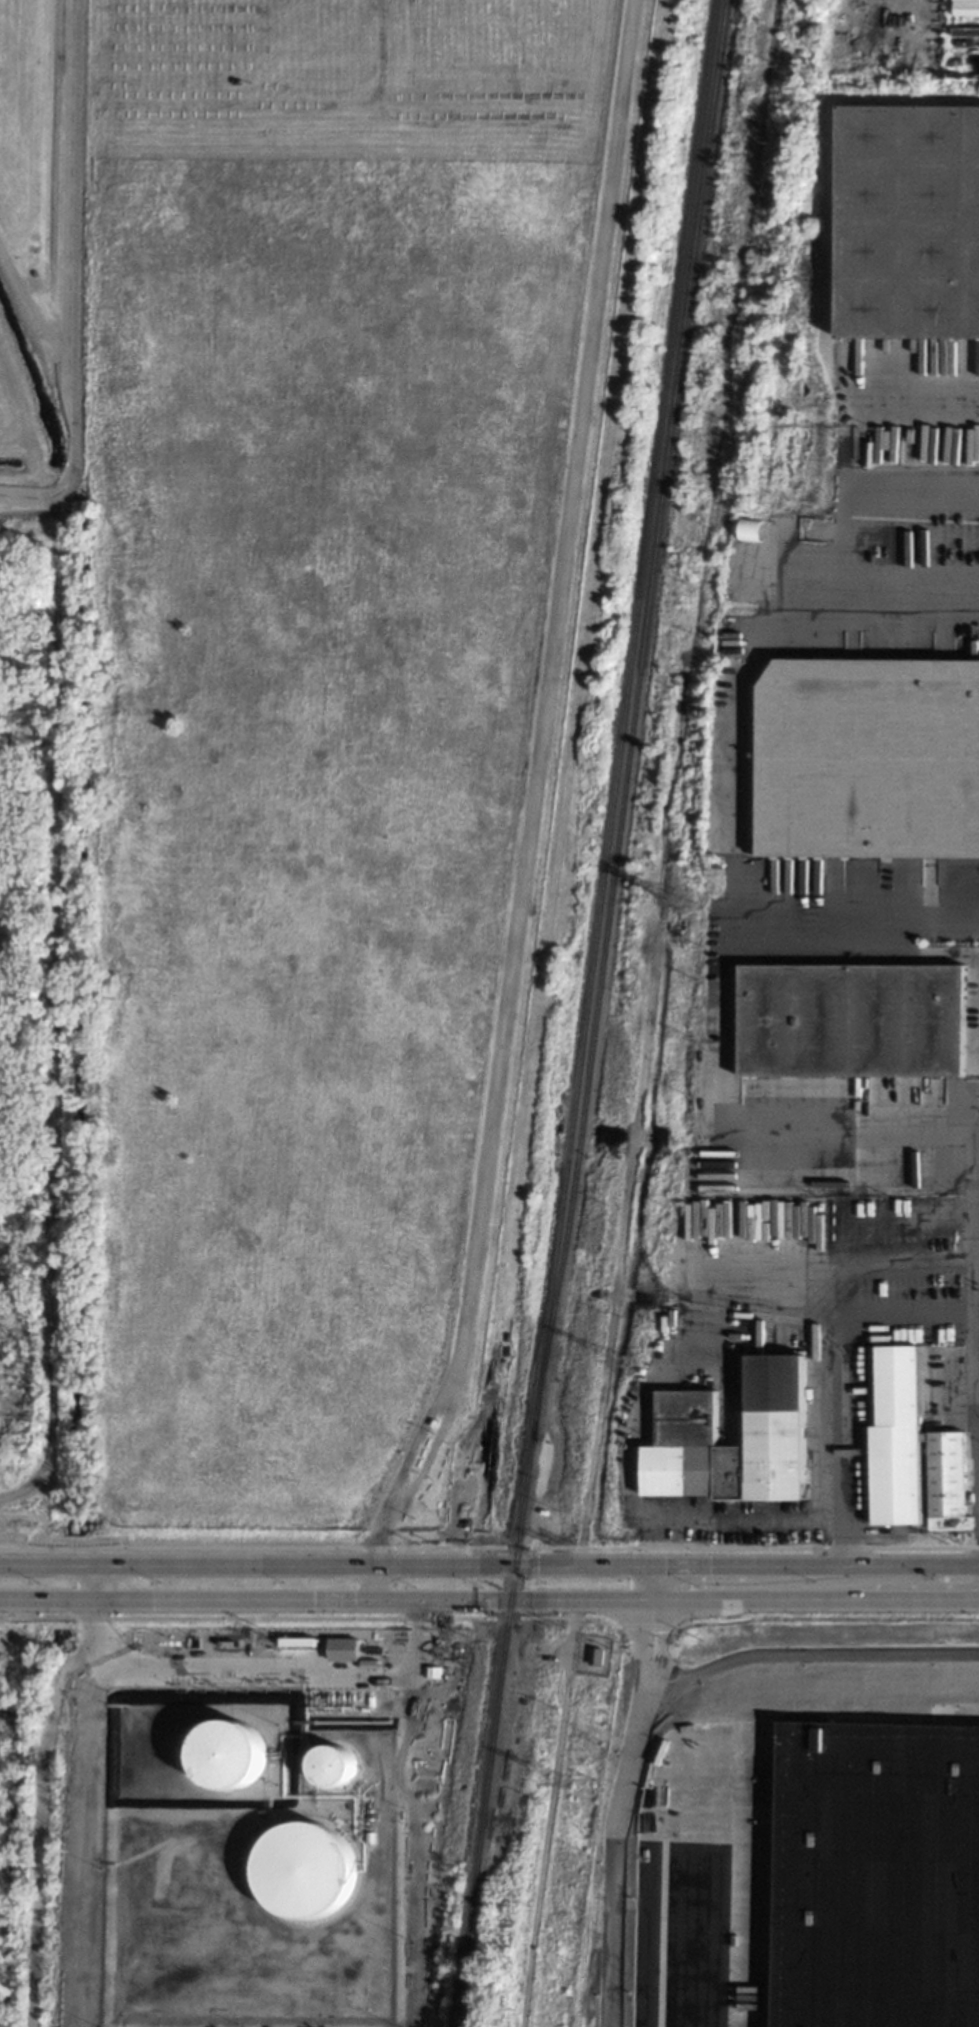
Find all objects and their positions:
building: (966, 7)
solar farm: (347, 74)
building: (909, 220)
road: (70, 279)
road: (29, 302)
road: (853, 437)
building: (751, 529)
road: (876, 611)
railway: (633, 720)
airport: (295, 731)
building: (869, 757)
road: (532, 791)
road: (863, 923)
road: (58, 1013)
railway: (586, 1013)
building: (851, 1020)
road: (971, 1178)
road: (817, 1332)
building: (686, 1416)
road: (637, 1426)
building: (912, 1448)
building: (544, 1511)
road: (489, 1566)
road: (94, 1582)
road: (372, 1583)
road: (435, 1601)
road: (924, 1602)
road: (649, 1607)
building: (345, 1648)
building: (594, 1654)
building: (398, 1659)
road: (261, 1663)
building: (369, 1663)
road: (649, 1668)
building: (434, 1671)
road: (648, 1692)
building: (230, 1755)
building: (334, 1767)
building: (370, 1833)
building: (306, 1871)
building: (878, 1875)
road: (729, 1881)

